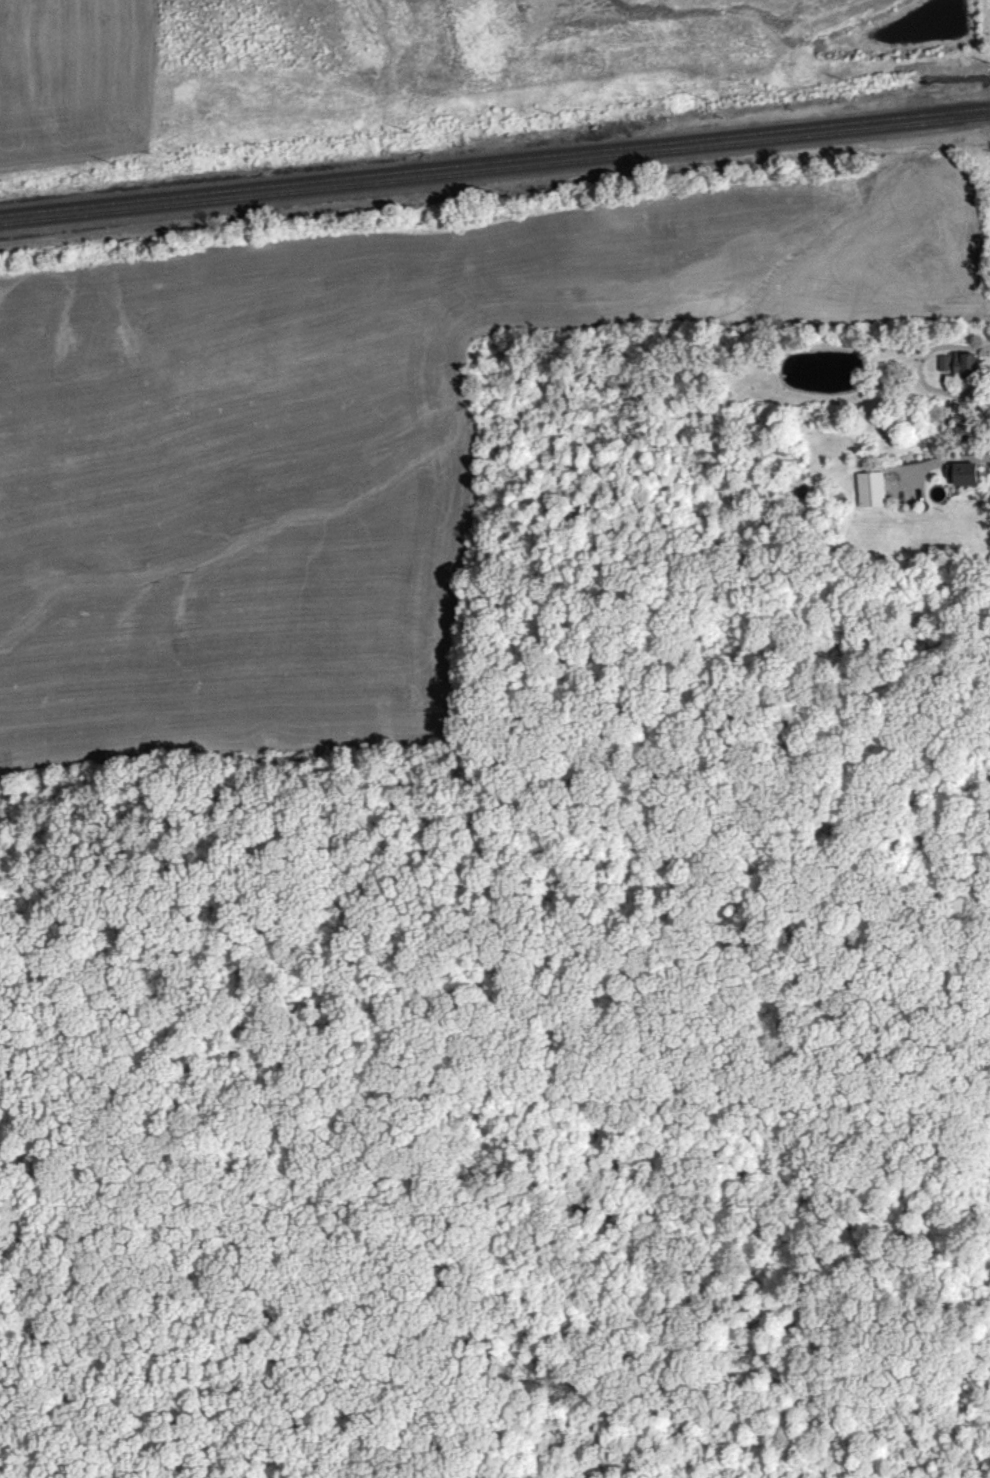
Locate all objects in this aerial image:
railway: (495, 166)
railway: (495, 175)
road: (972, 312)
building: (959, 369)
road: (917, 378)
road: (943, 387)
building: (964, 438)
road: (981, 466)
road: (934, 467)
road: (982, 474)
building: (961, 479)
road: (947, 488)
road: (947, 494)
building: (869, 495)
road: (667, 1039)
road: (139, 1131)
road: (11, 1154)
road: (26, 1198)
road: (292, 1208)
road: (741, 1245)
road: (486, 1310)
road: (745, 1350)
road: (148, 1380)

